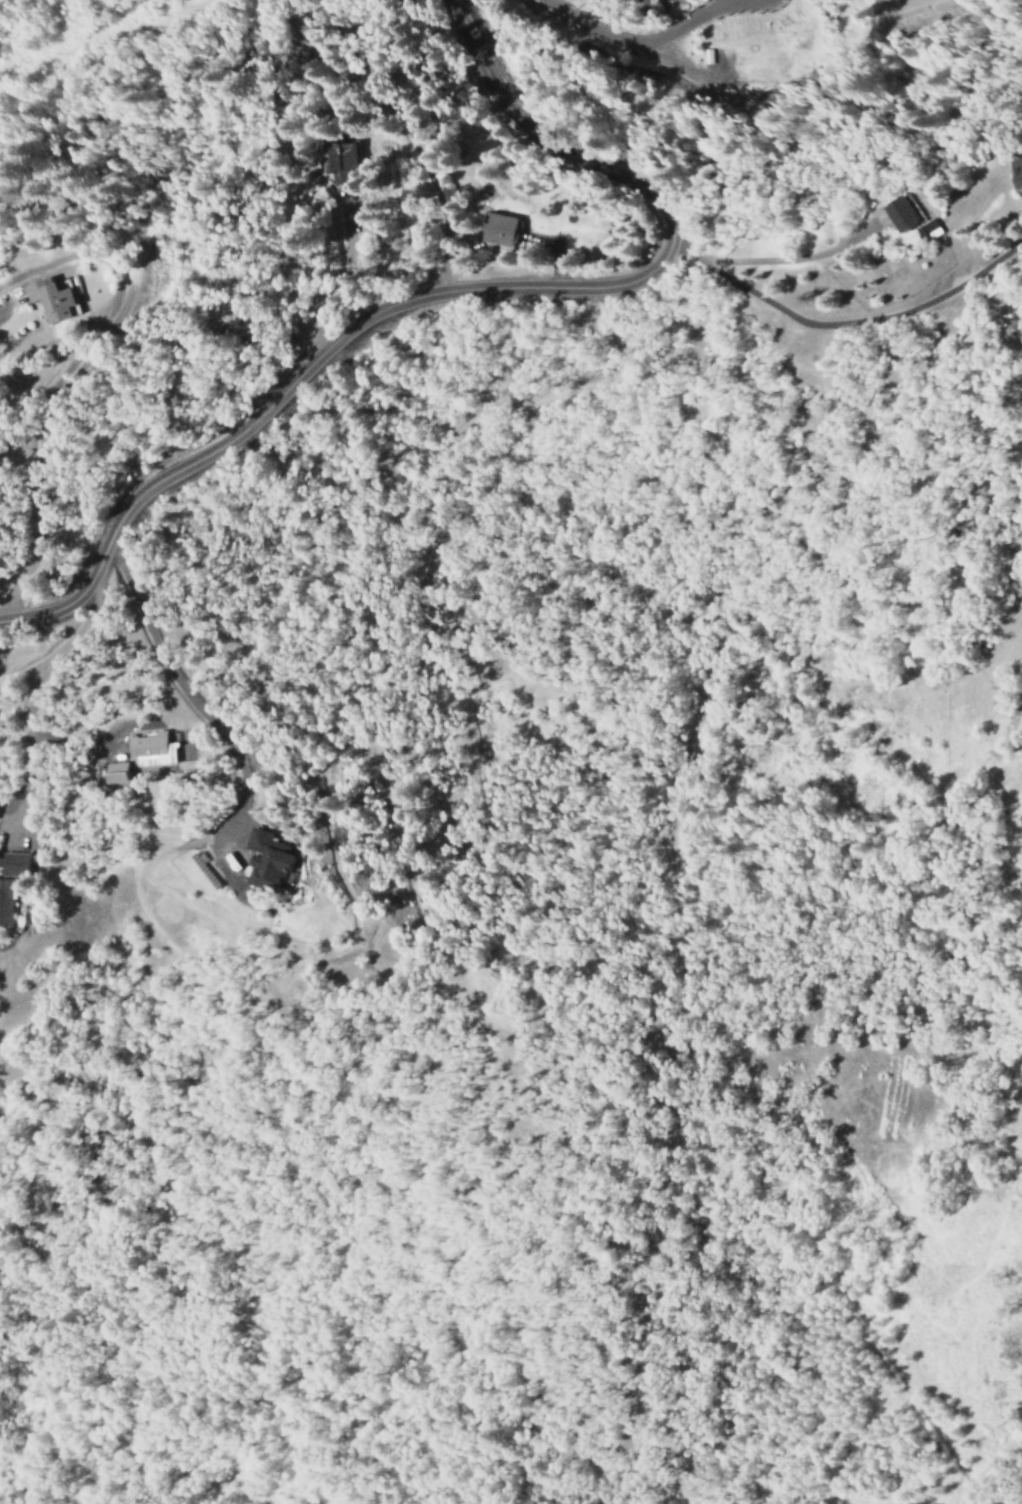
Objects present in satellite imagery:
road: (637, 43)
building: (342, 156)
building: (888, 210)
building: (499, 229)
road: (450, 288)
building: (48, 298)
road: (843, 324)
road: (63, 648)
building: (152, 747)
road: (31, 763)
building: (112, 772)
building: (258, 859)
building: (10, 878)

